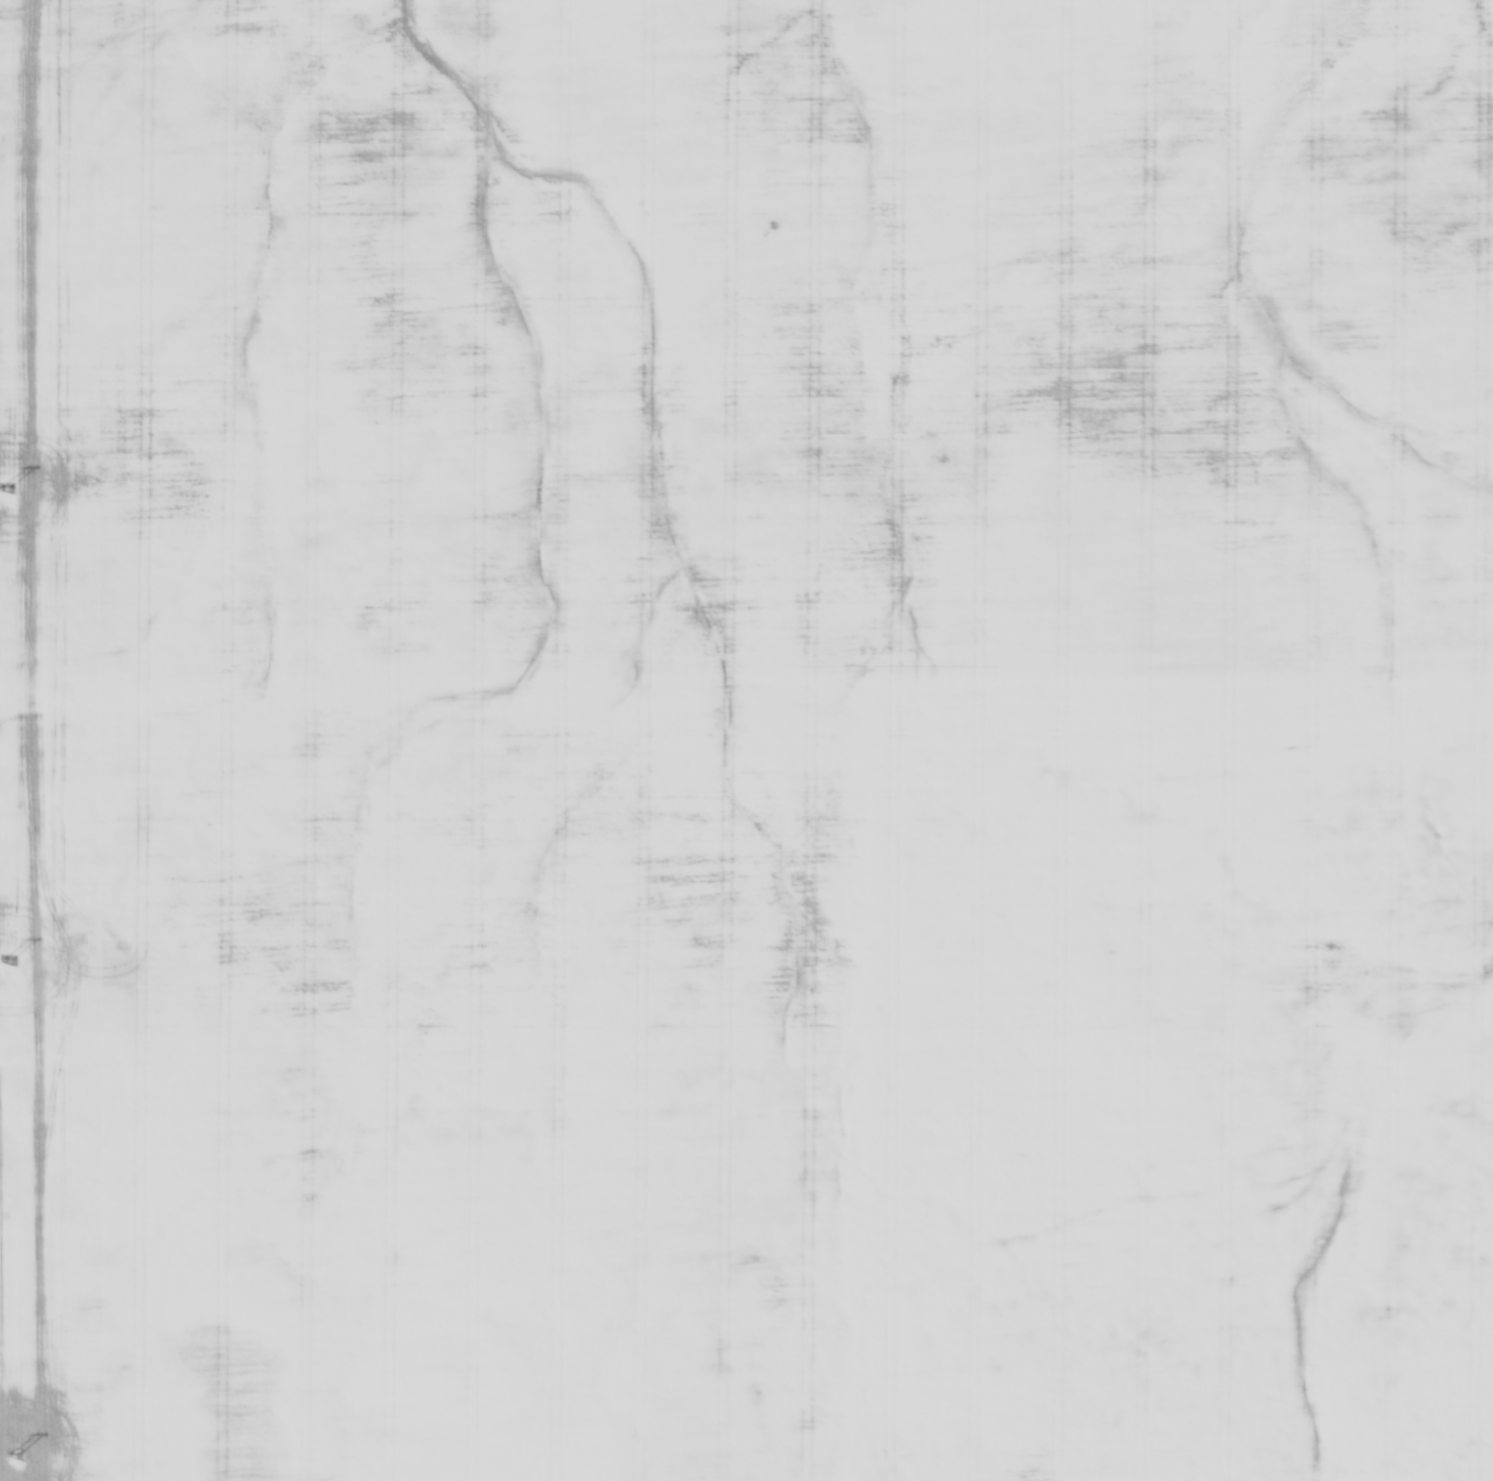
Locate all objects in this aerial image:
power tower: (4, 487)
power tower: (7, 960)
power tower: (13, 1455)

